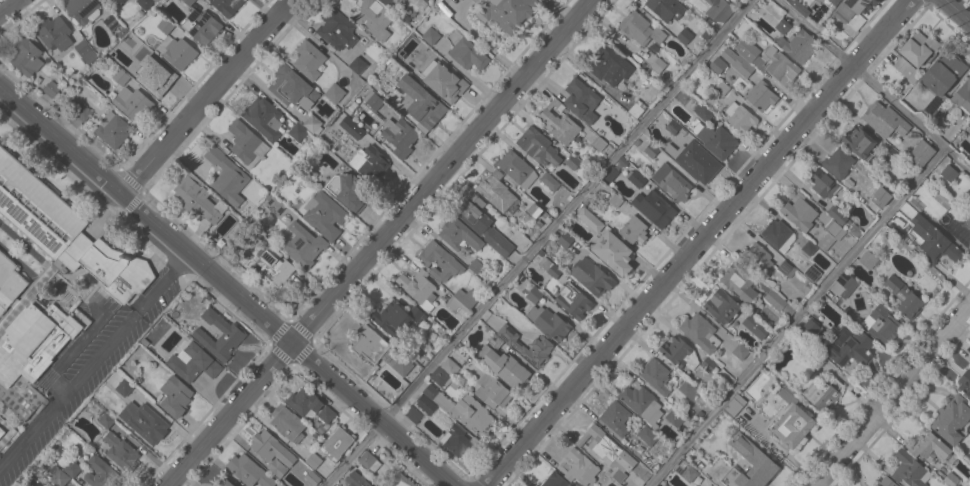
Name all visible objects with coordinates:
building: (105, 0)
building: (107, 0)
building: (683, 0)
building: (119, 1)
building: (412, 1)
building: (188, 2)
building: (387, 2)
building: (834, 2)
building: (145, 3)
road: (8, 6)
building: (227, 6)
building: (666, 8)
building: (799, 8)
road: (961, 8)
building: (718, 10)
building: (82, 11)
building: (852, 12)
building: (507, 13)
building: (368, 16)
building: (111, 22)
building: (165, 26)
building: (201, 26)
building: (782, 26)
building: (639, 28)
building: (337, 30)
building: (54, 33)
building: (430, 36)
building: (684, 36)
building: (799, 45)
building: (918, 48)
building: (419, 49)
building: (85, 51)
building: (143, 53)
building: (179, 53)
building: (467, 54)
building: (26, 57)
building: (744, 58)
building: (308, 60)
building: (357, 65)
building: (658, 65)
building: (717, 65)
building: (610, 66)
building: (780, 66)
building: (906, 69)
building: (121, 77)
building: (156, 78)
building: (941, 80)
building: (444, 83)
road: (873, 85)
building: (290, 86)
building: (51, 89)
building: (334, 93)
building: (760, 96)
road: (210, 99)
building: (580, 99)
building: (962, 99)
building: (373, 100)
building: (421, 102)
building: (133, 103)
building: (636, 109)
building: (82, 112)
building: (702, 112)
building: (263, 118)
building: (740, 118)
building: (884, 120)
building: (312, 123)
building: (558, 123)
building: (969, 125)
building: (350, 126)
building: (672, 127)
building: (112, 130)
building: (297, 132)
building: (399, 136)
building: (717, 141)
road: (62, 142)
building: (858, 142)
building: (599, 143)
building: (246, 144)
building: (538, 147)
building: (650, 150)
building: (920, 153)
building: (622, 161)
building: (694, 161)
building: (572, 162)
building: (838, 163)
building: (369, 164)
building: (516, 168)
building: (948, 173)
building: (609, 175)
building: (228, 177)
building: (635, 178)
building: (549, 181)
building: (671, 183)
building: (823, 183)
building: (347, 190)
building: (495, 191)
building: (884, 194)
building: (196, 198)
building: (615, 201)
building: (274, 205)
building: (654, 208)
building: (534, 210)
building: (799, 212)
building: (836, 214)
building: (969, 214)
building: (324, 215)
building: (589, 219)
building: (484, 228)
building: (633, 230)
building: (458, 235)
building: (778, 235)
building: (830, 235)
building: (929, 237)
building: (564, 240)
road: (381, 243)
road: (541, 243)
road: (700, 243)
building: (302, 244)
building: (808, 248)
building: (613, 253)
building: (757, 259)
building: (867, 260)
building: (439, 261)
building: (269, 266)
building: (475, 266)
building: (549, 267)
building: (786, 268)
building: (812, 273)
building: (591, 276)
building: (48, 281)
building: (738, 283)
building: (846, 284)
building: (419, 289)
building: (534, 295)
building: (903, 297)
building: (462, 300)
building: (573, 301)
building: (778, 303)
building: (720, 305)
building: (395, 318)
road: (798, 318)
building: (548, 322)
building: (883, 325)
building: (755, 326)
building: (809, 329)
building: (700, 333)
building: (232, 336)
road: (286, 342)
building: (848, 347)
building: (540, 348)
building: (378, 350)
building: (740, 352)
building: (679, 353)
building: (816, 359)
road: (93, 360)
building: (194, 363)
building: (708, 365)
building: (503, 366)
building: (445, 371)
building: (655, 376)
building: (113, 378)
building: (964, 383)
building: (123, 387)
building: (688, 389)
building: (492, 391)
building: (786, 394)
building: (822, 394)
building: (175, 396)
road: (893, 398)
building: (303, 401)
building: (641, 403)
building: (426, 405)
building: (734, 405)
building: (462, 410)
building: (326, 414)
building: (413, 415)
building: (616, 418)
building: (674, 418)
building: (106, 420)
building: (952, 420)
building: (144, 422)
building: (287, 423)
building: (792, 426)
building: (5, 433)
building: (647, 435)
building: (456, 441)
building: (265, 444)
building: (336, 444)
building: (928, 447)
building: (121, 452)
building: (607, 452)
building: (751, 455)
building: (699, 456)
building: (313, 460)
building: (368, 461)
building: (275, 468)
building: (71, 469)
building: (581, 469)
building: (685, 470)
building: (909, 470)
building: (249, 471)
building: (101, 473)
building: (57, 476)
building: (311, 478)
building: (950, 479)
building: (358, 480)
building: (403, 480)
building: (555, 480)
building: (224, 482)
building: (885, 482)
building: (662, 484)
building: (693, 485)
building: (694, 485)

